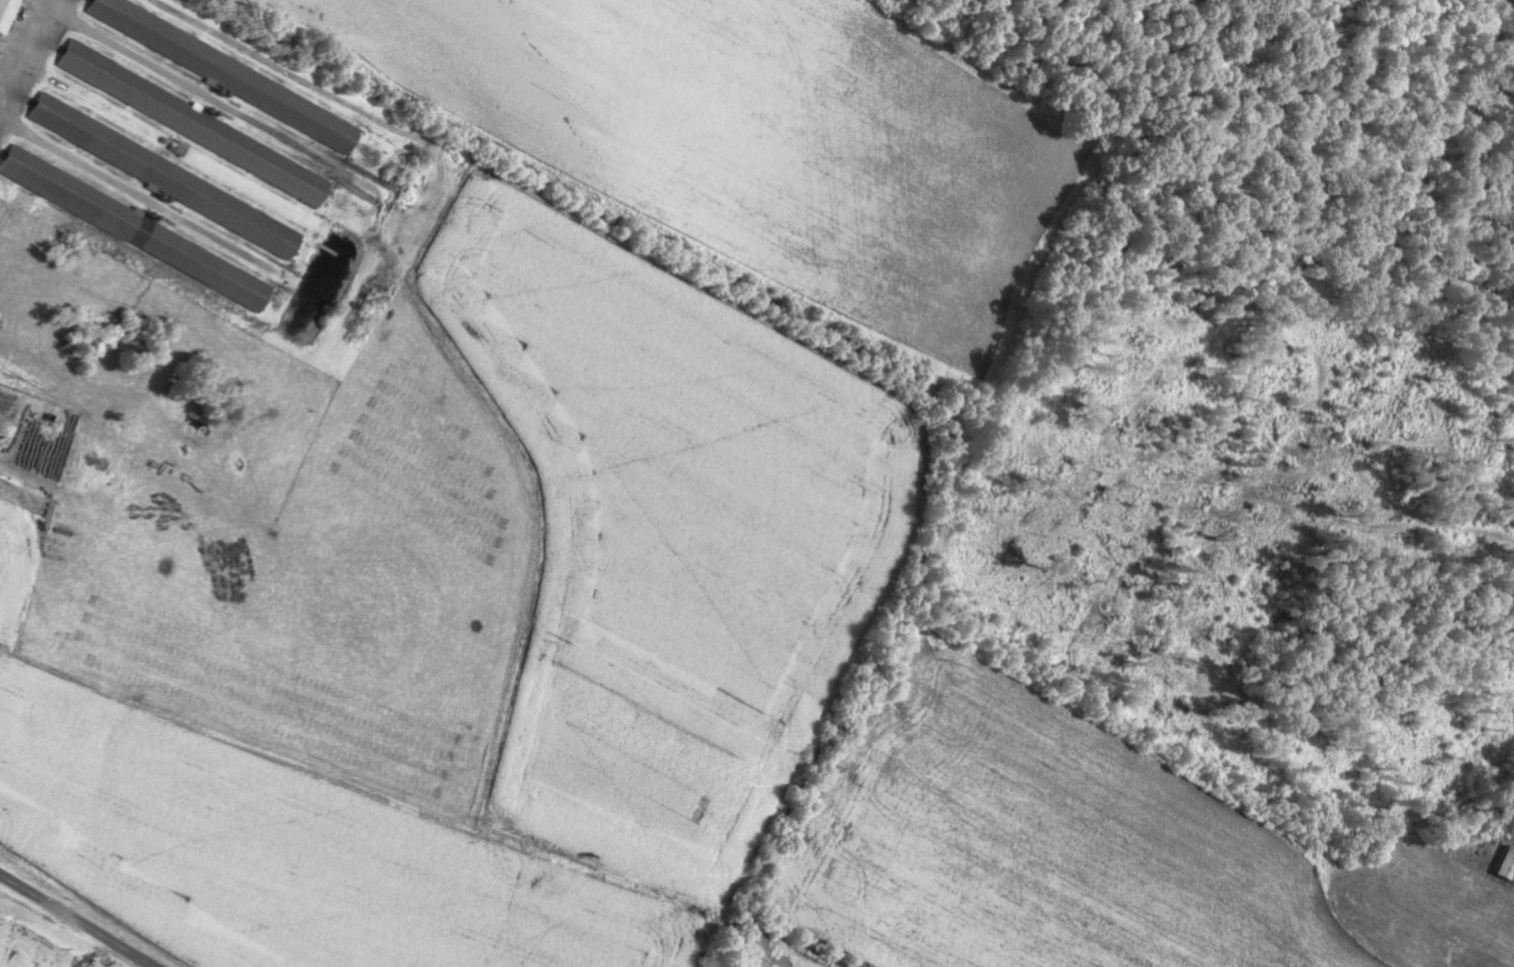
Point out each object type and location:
building: (9, 14)
building: (235, 75)
building: (191, 120)
building: (176, 180)
building: (142, 229)
building: (1503, 864)
road: (77, 921)

